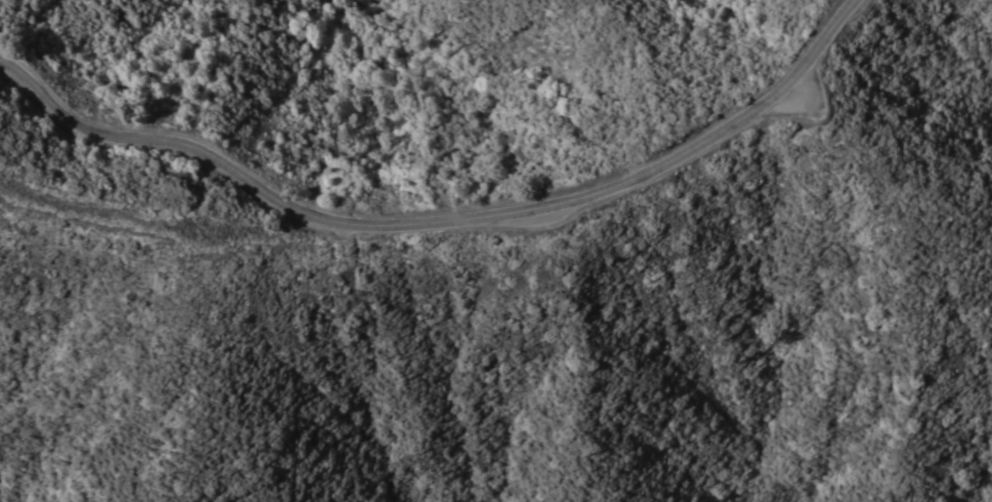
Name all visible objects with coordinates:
building: (669, 118)
storage tank: (669, 118)
road: (440, 220)
road: (158, 234)

